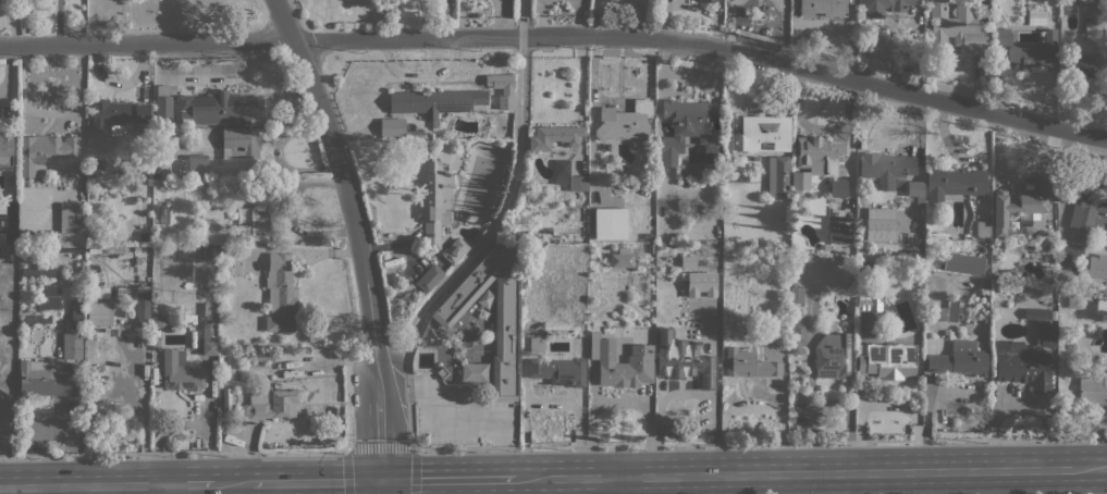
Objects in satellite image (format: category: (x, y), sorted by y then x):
building: (709, 0)
building: (605, 1)
building: (822, 7)
building: (885, 7)
building: (1035, 15)
building: (955, 29)
road: (558, 36)
building: (1029, 49)
building: (1091, 64)
building: (4, 87)
building: (430, 102)
building: (163, 104)
building: (218, 108)
building: (115, 120)
building: (626, 122)
building: (689, 127)
building: (397, 128)
building: (771, 132)
building: (554, 137)
building: (242, 145)
building: (5, 150)
building: (45, 151)
building: (813, 155)
building: (197, 164)
building: (885, 166)
building: (777, 175)
building: (568, 176)
building: (799, 182)
building: (954, 182)
building: (164, 185)
building: (838, 186)
building: (915, 190)
building: (246, 193)
building: (862, 194)
building: (798, 202)
building: (433, 203)
building: (1021, 206)
building: (163, 213)
building: (1087, 215)
building: (72, 218)
building: (254, 224)
building: (651, 229)
building: (880, 229)
building: (983, 229)
building: (838, 230)
road: (358, 233)
building: (518, 236)
building: (49, 237)
building: (454, 250)
building: (212, 254)
building: (622, 258)
building: (910, 259)
building: (230, 260)
building: (688, 261)
building: (1096, 265)
building: (869, 270)
building: (37, 272)
building: (429, 277)
building: (700, 284)
building: (50, 289)
building: (280, 293)
building: (796, 294)
building: (863, 298)
building: (1073, 302)
building: (98, 306)
building: (1100, 306)
building: (142, 307)
building: (947, 311)
building: (76, 312)
building: (1053, 314)
building: (35, 319)
building: (159, 322)
building: (506, 323)
building: (1042, 325)
building: (207, 334)
building: (797, 335)
building: (537, 344)
building: (72, 345)
building: (1000, 347)
building: (262, 356)
building: (832, 356)
building: (247, 358)
building: (960, 358)
building: (682, 359)
building: (620, 362)
building: (887, 362)
building: (749, 365)
building: (1026, 368)
building: (557, 369)
building: (180, 372)
building: (441, 372)
building: (156, 374)
building: (44, 380)
road: (810, 386)
building: (1093, 388)
building: (255, 404)
road: (143, 406)
road: (463, 410)
road: (848, 421)
road: (381, 447)
road: (1106, 467)
road: (809, 473)
road: (447, 479)
traffic signals: (381, 480)
road: (317, 481)
road: (234, 483)
road: (189, 484)
road: (82, 485)
road: (616, 485)
road: (381, 486)
road: (487, 486)
road: (278, 487)
road: (165, 490)

